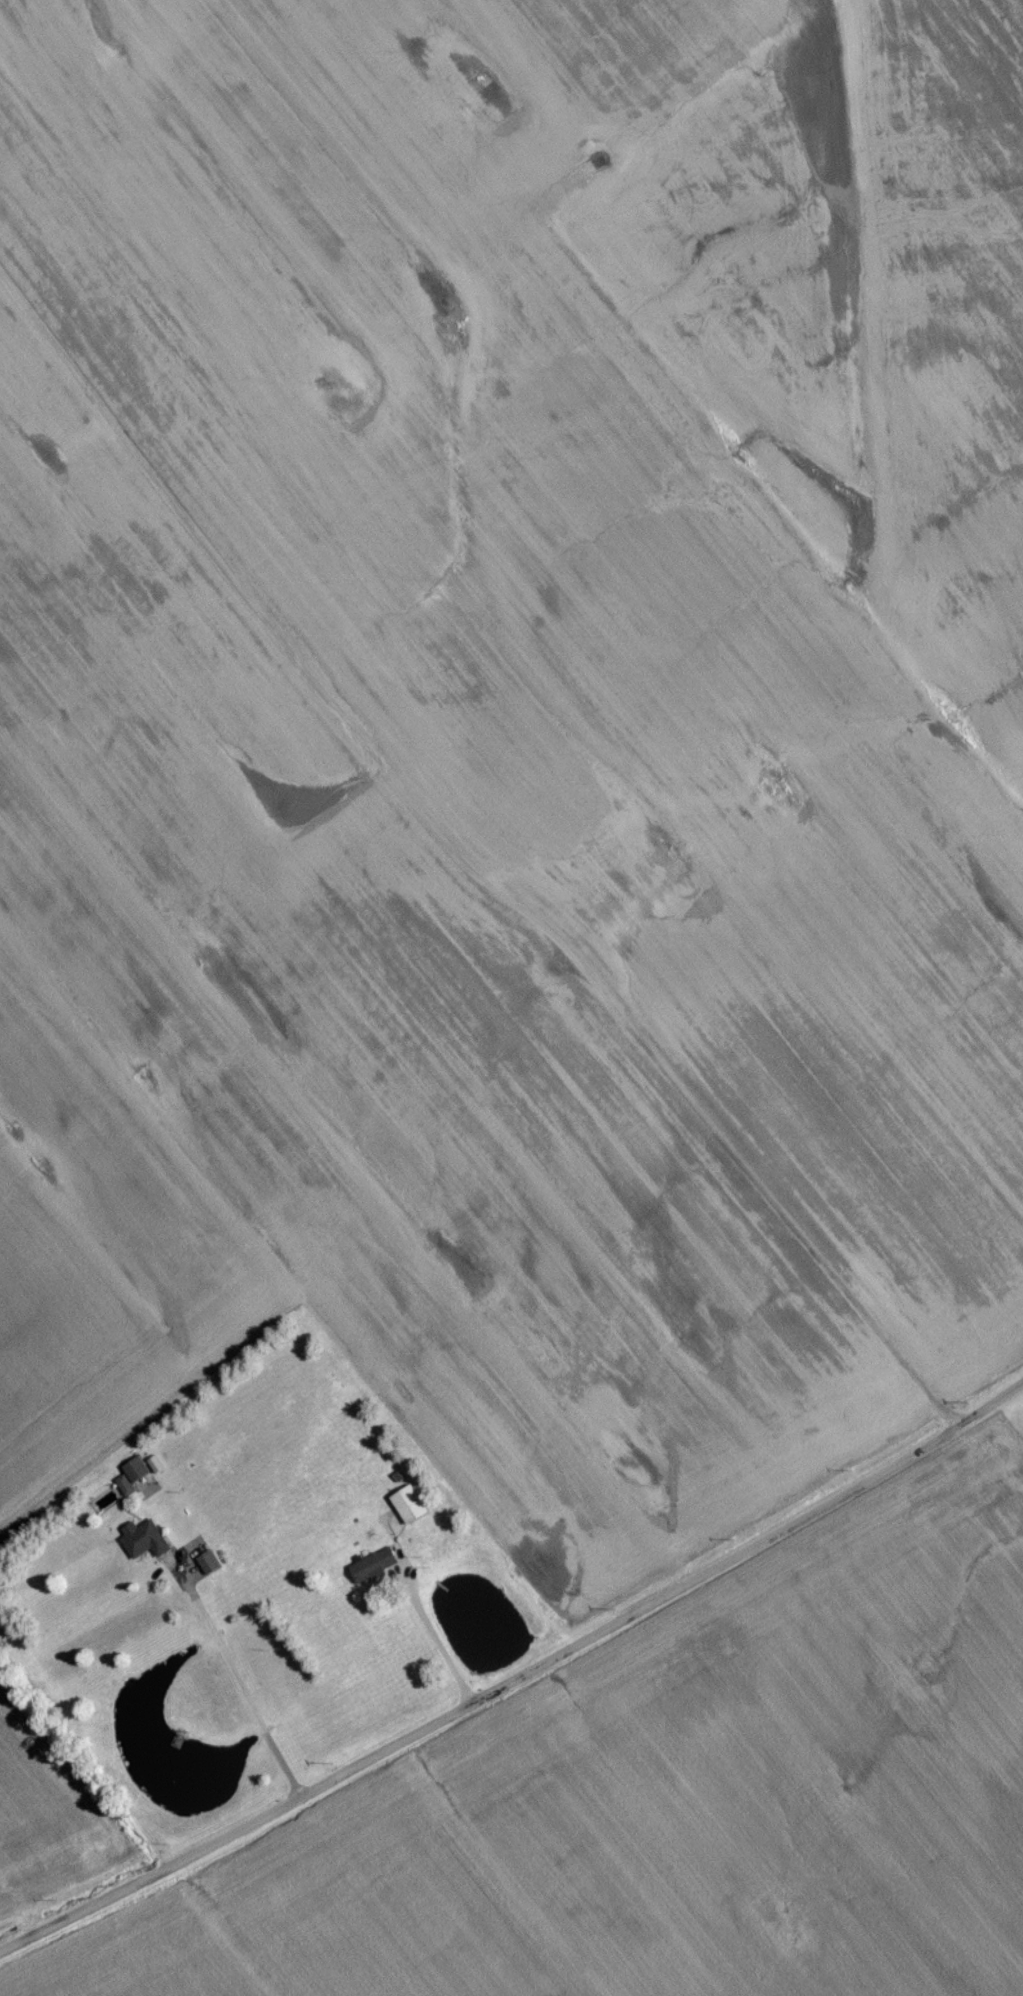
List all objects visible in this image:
road: (468, 865)
building: (138, 1476)
building: (411, 1511)
building: (146, 1544)
building: (210, 1569)
building: (375, 1570)
road: (438, 1642)
road: (516, 1682)
road: (239, 1683)

